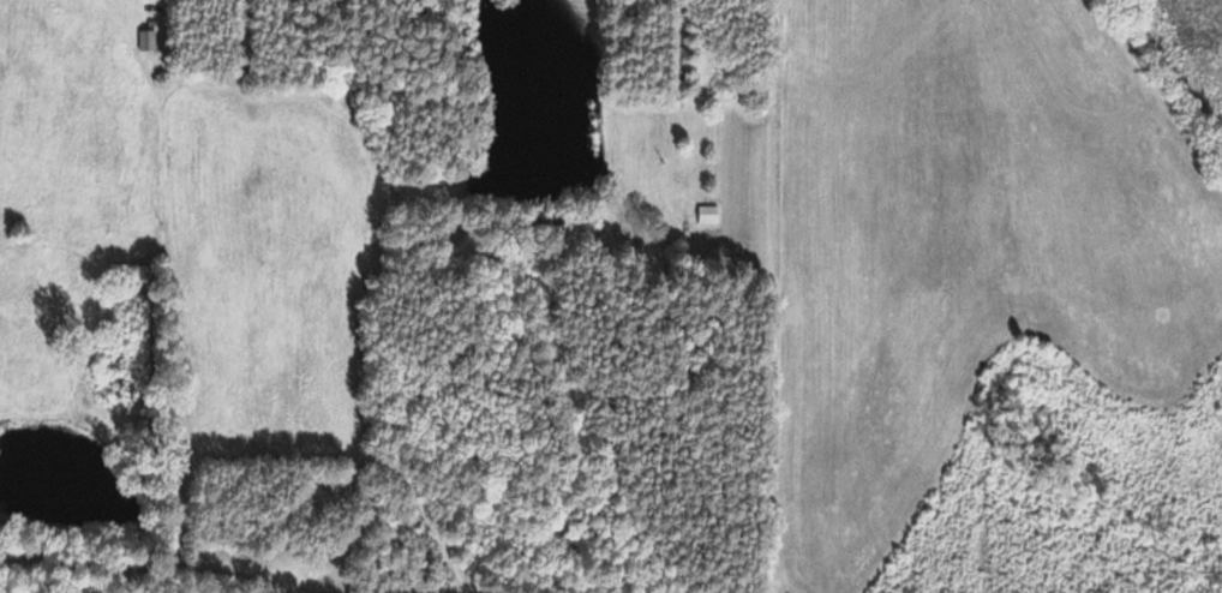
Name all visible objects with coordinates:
building: (149, 42)
road: (1161, 89)
building: (706, 216)
road: (365, 415)
park: (44, 586)

